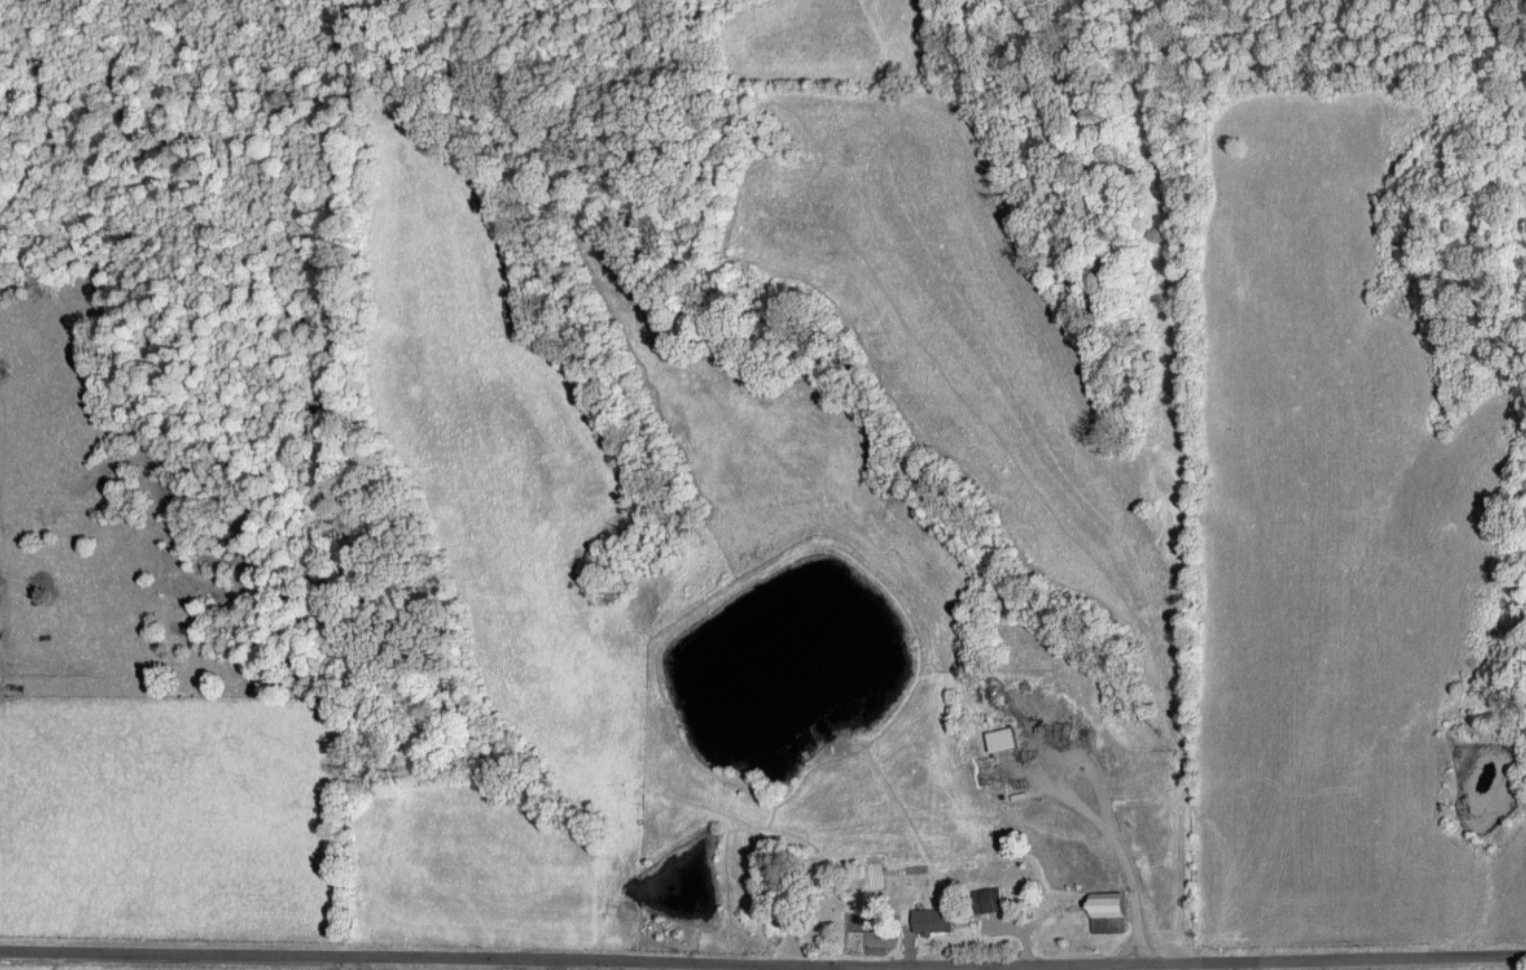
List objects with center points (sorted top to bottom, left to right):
building: (1000, 739)
building: (987, 899)
building: (1105, 904)
building: (931, 920)
road: (406, 951)
road: (1434, 954)
road: (1223, 962)

